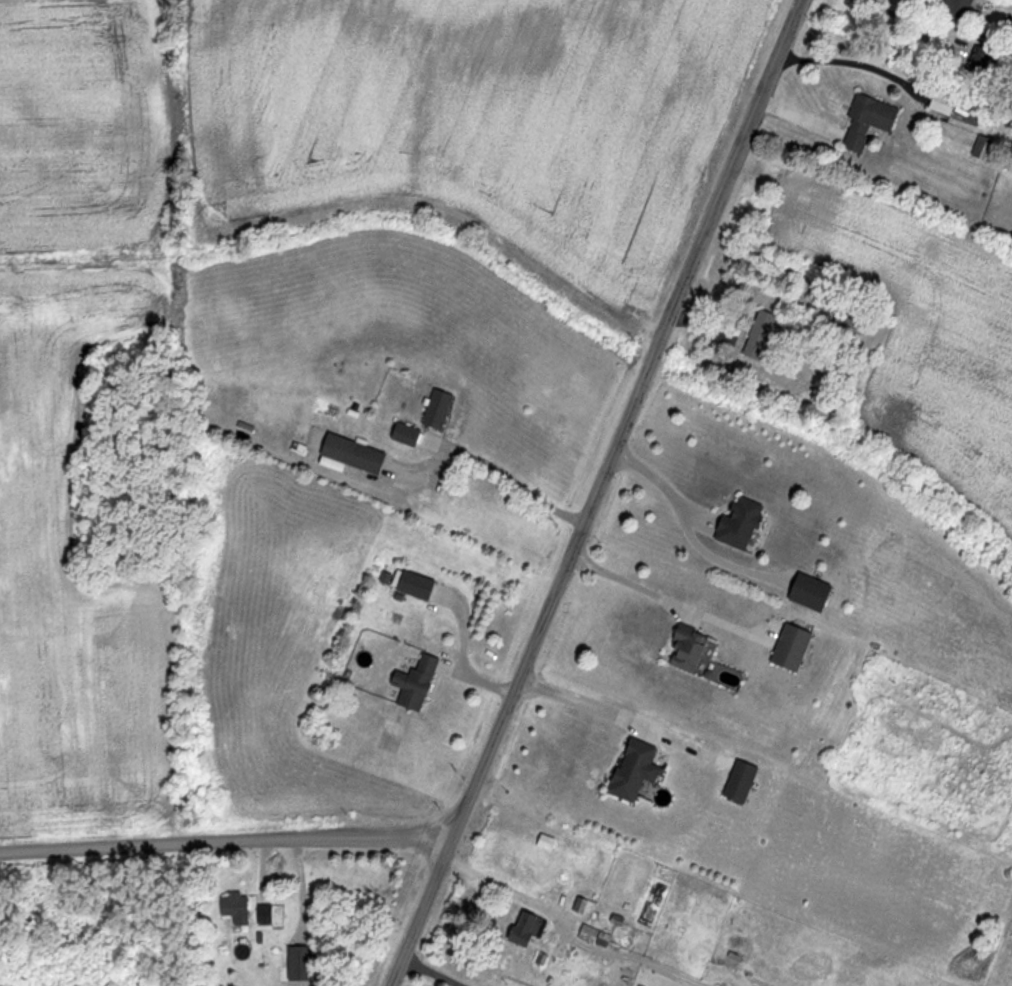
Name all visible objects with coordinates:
building: (956, 7)
road: (906, 19)
building: (977, 61)
building: (939, 104)
building: (864, 123)
building: (981, 149)
crop: (925, 331)
building: (757, 336)
building: (435, 410)
building: (403, 434)
building: (350, 453)
road: (510, 479)
road: (599, 493)
building: (737, 523)
road: (686, 540)
building: (414, 585)
road: (641, 587)
building: (806, 592)
building: (788, 647)
building: (683, 648)
building: (412, 682)
road: (578, 707)
building: (632, 769)
building: (738, 782)
road: (226, 842)
building: (542, 842)
building: (582, 906)
building: (233, 908)
building: (262, 914)
road: (563, 926)
building: (524, 929)
building: (592, 935)
building: (555, 951)
building: (297, 964)
road: (420, 976)

